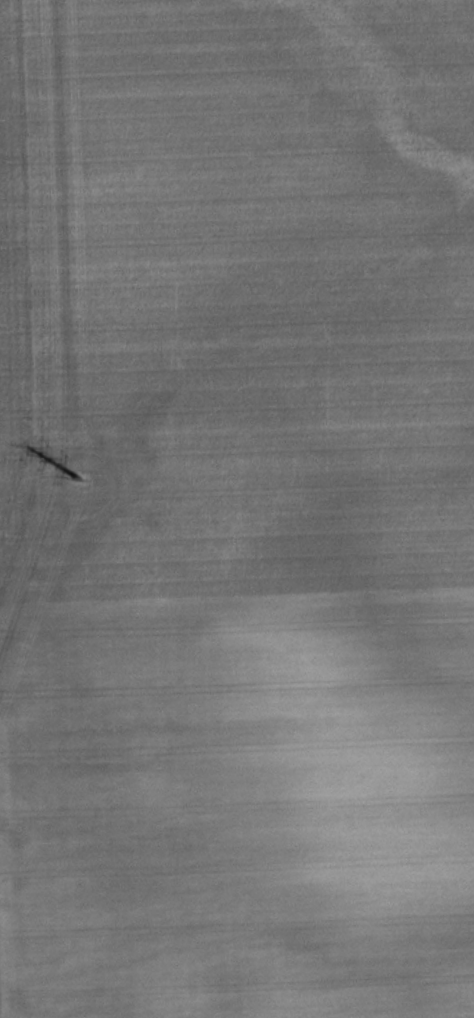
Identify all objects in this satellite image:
power tower: (78, 470)

